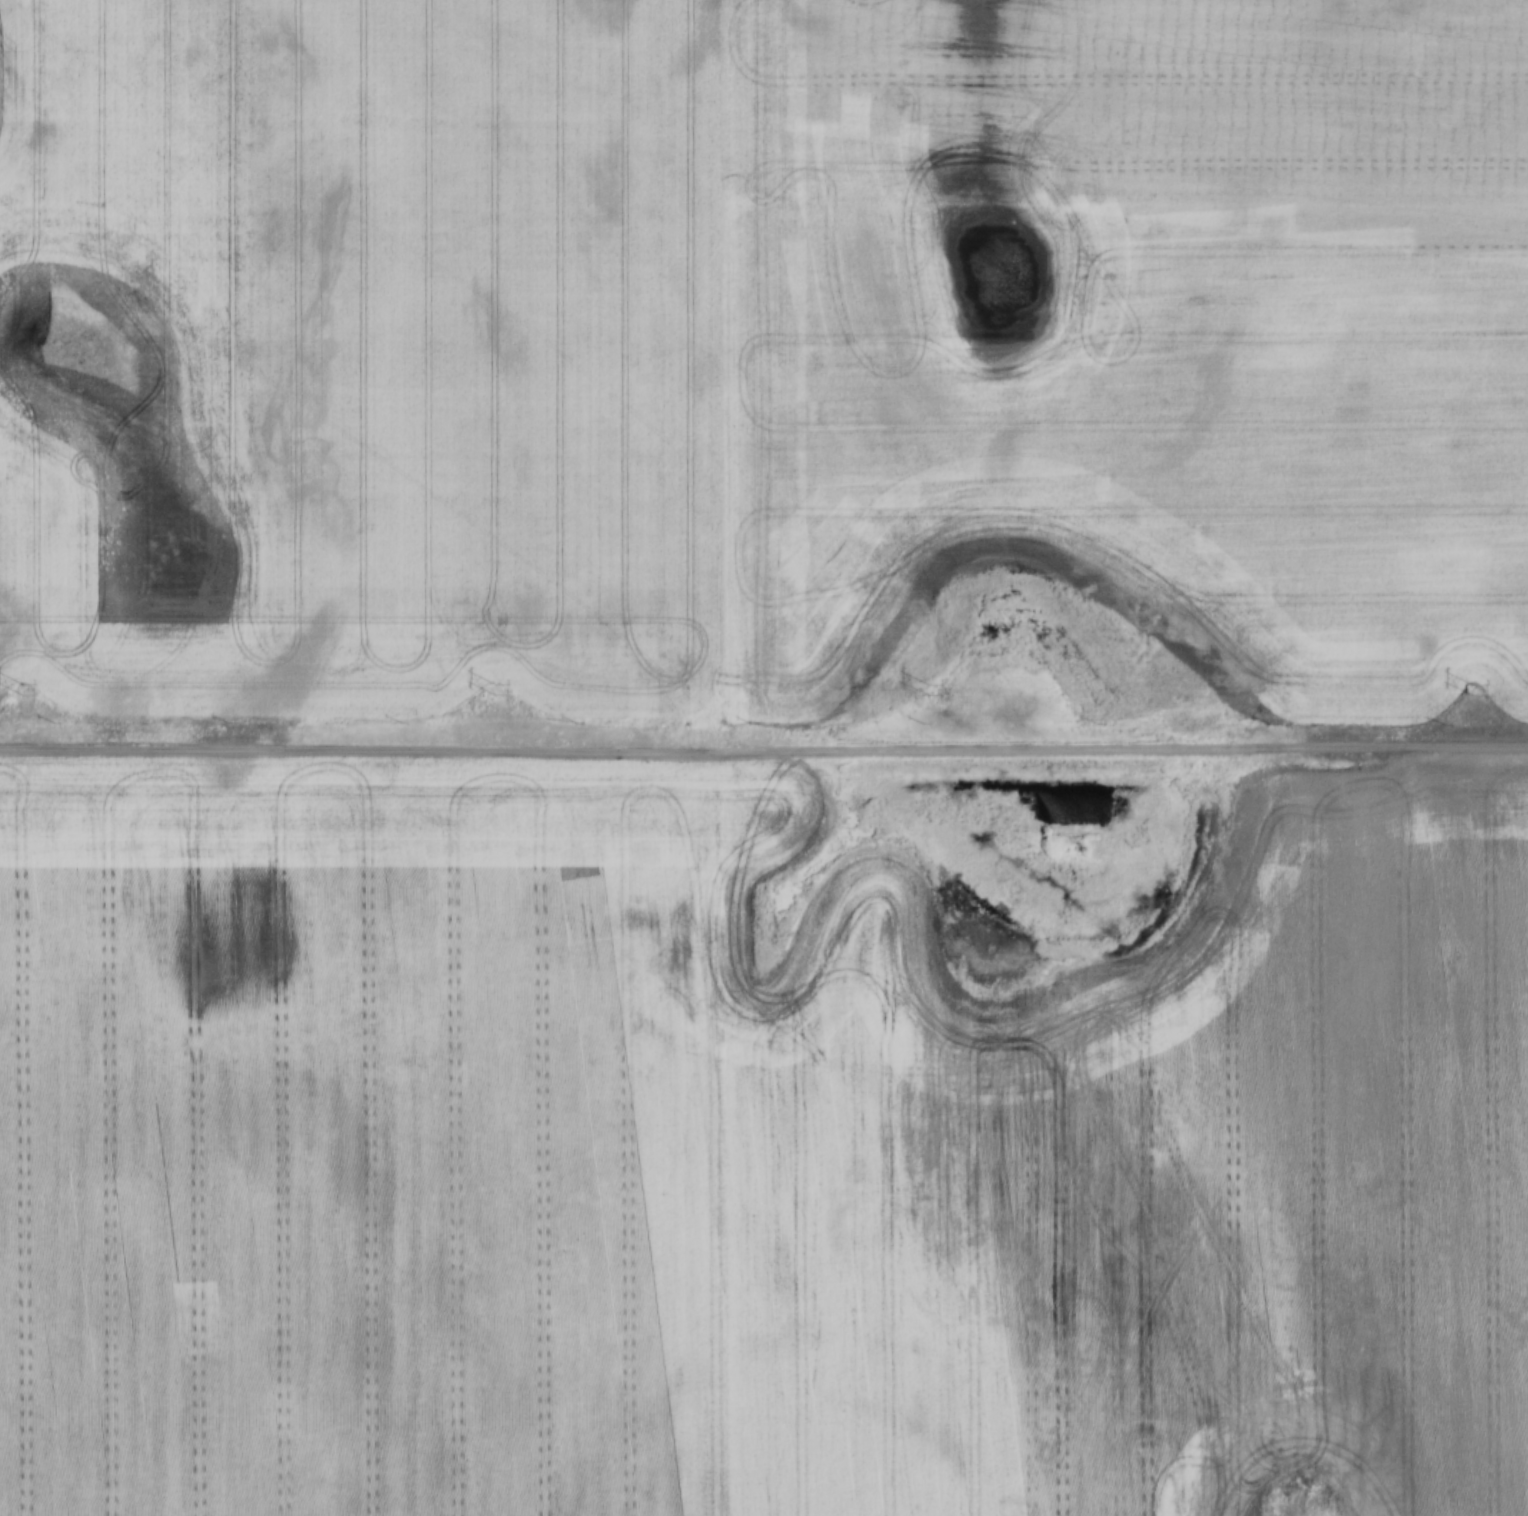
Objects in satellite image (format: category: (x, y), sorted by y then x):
building: (534, 125)
road: (764, 752)
building: (844, 1281)
building: (1143, 1466)

